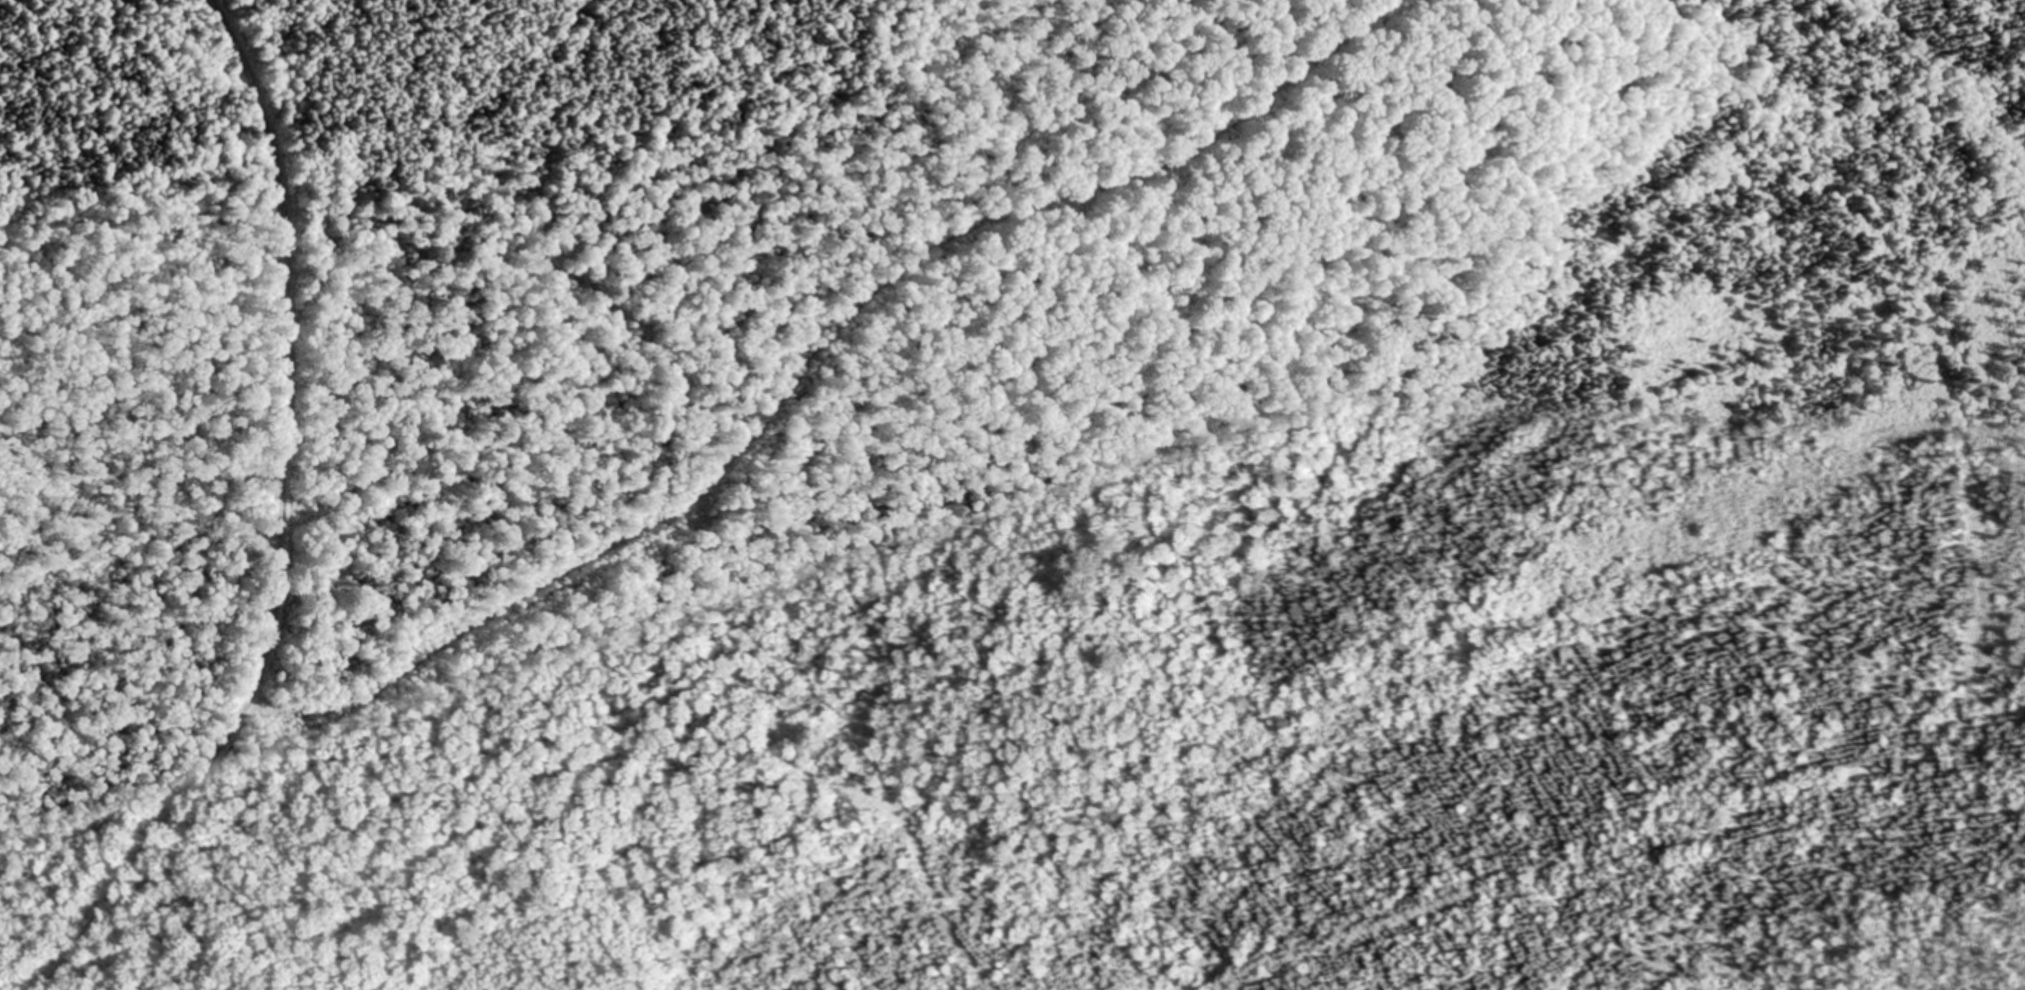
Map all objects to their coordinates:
road: (82, 157)

